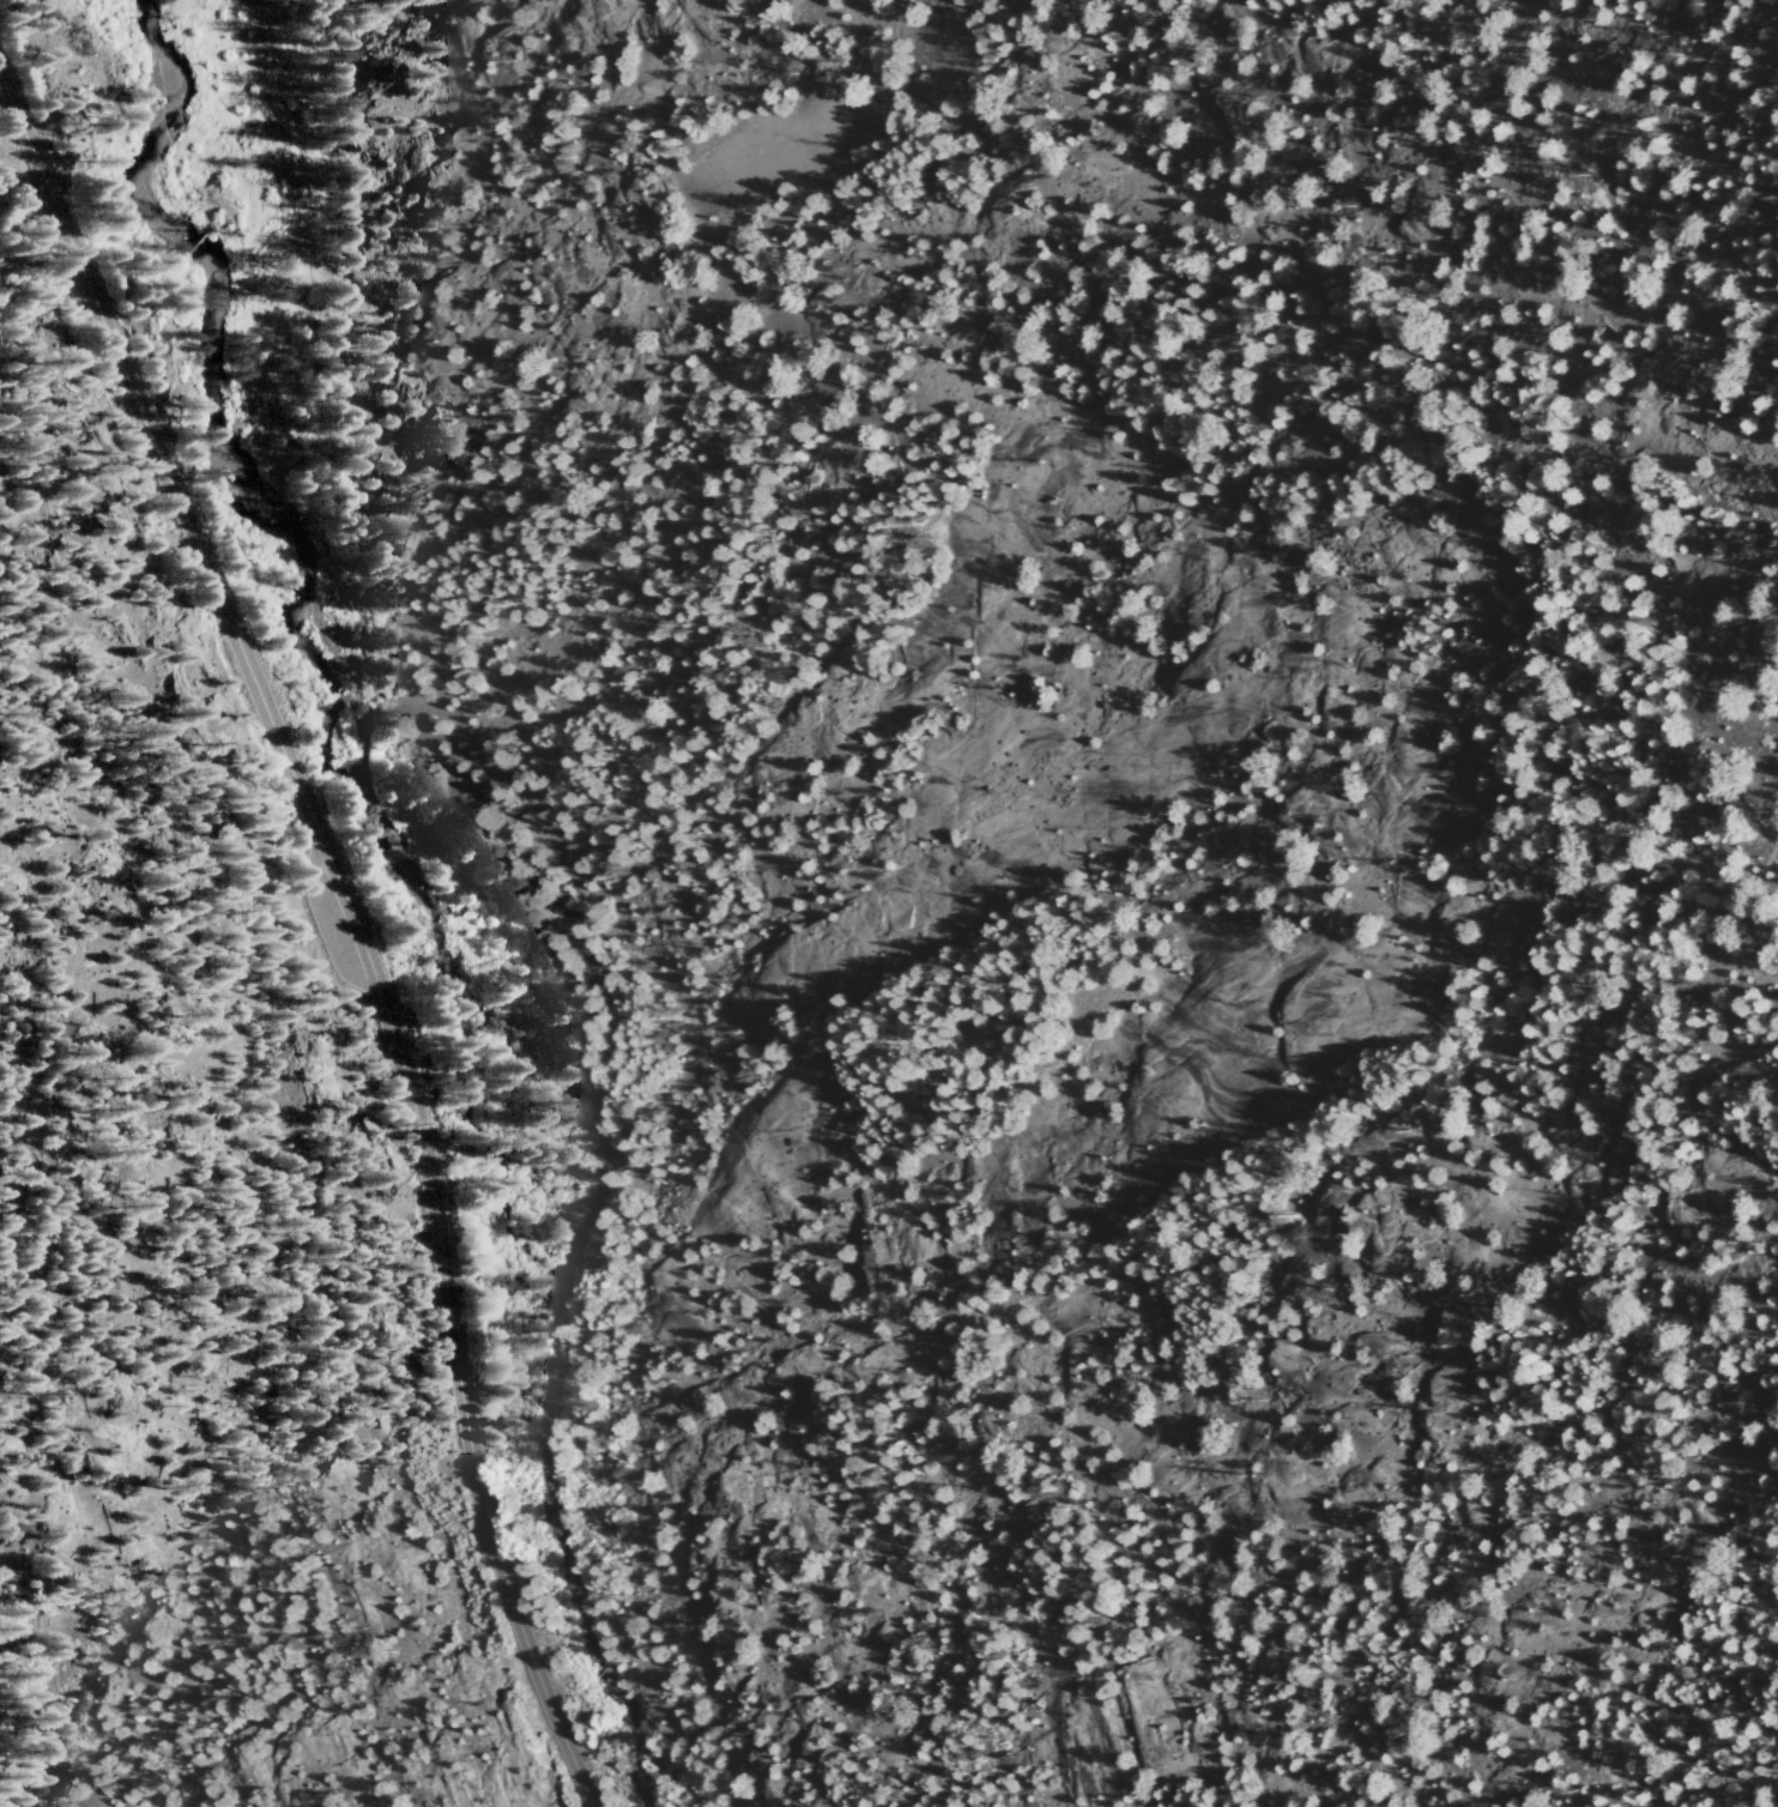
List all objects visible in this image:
road: (241, 647)
river: (406, 880)
parking lot: (337, 923)
road: (437, 1245)
road: (492, 1537)

